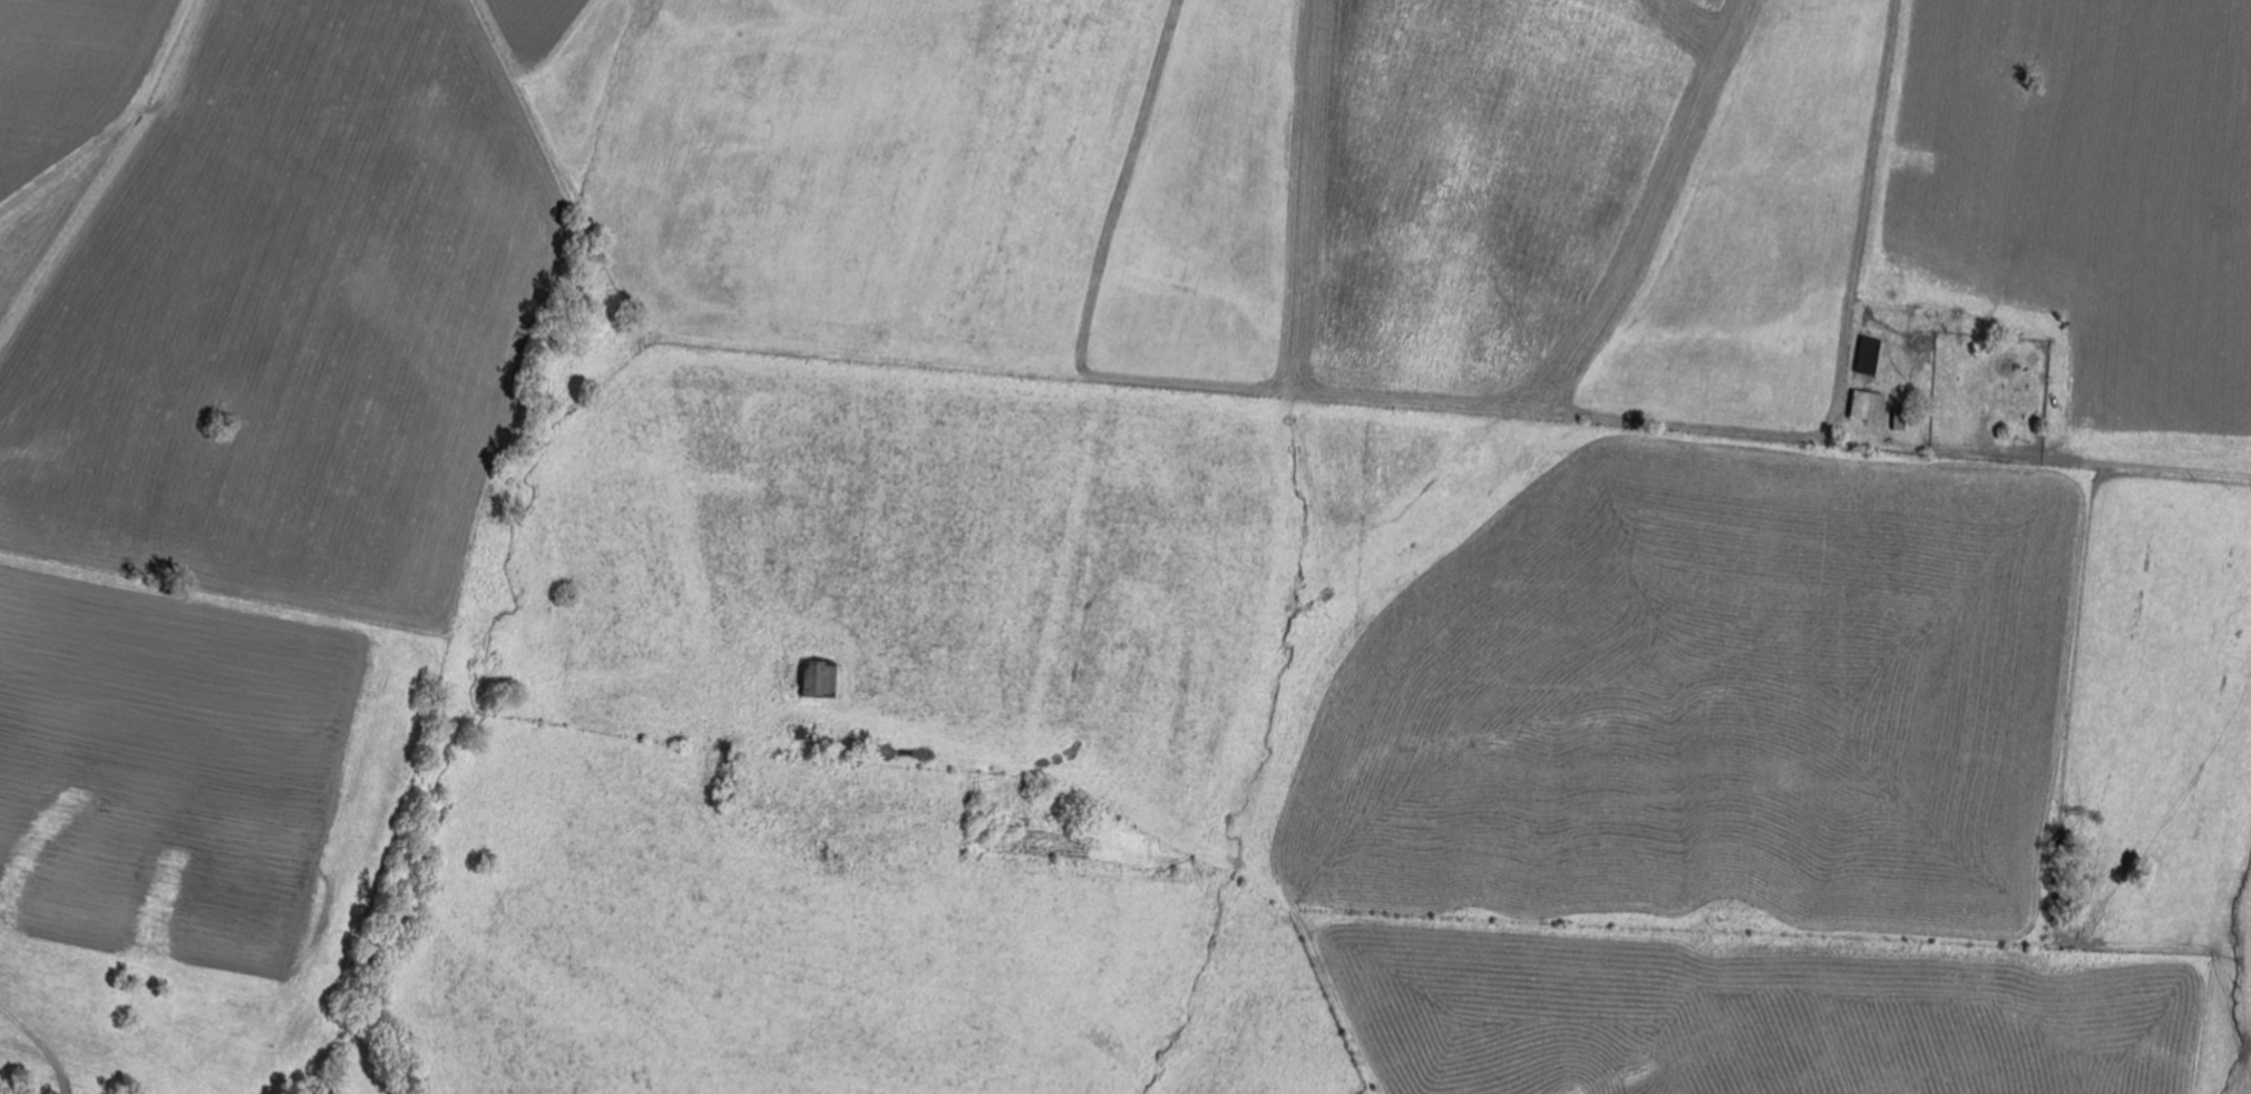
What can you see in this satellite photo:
road: (625, 319)
building: (1877, 356)
building: (2023, 401)
building: (1873, 407)
road: (2135, 466)
building: (824, 680)

